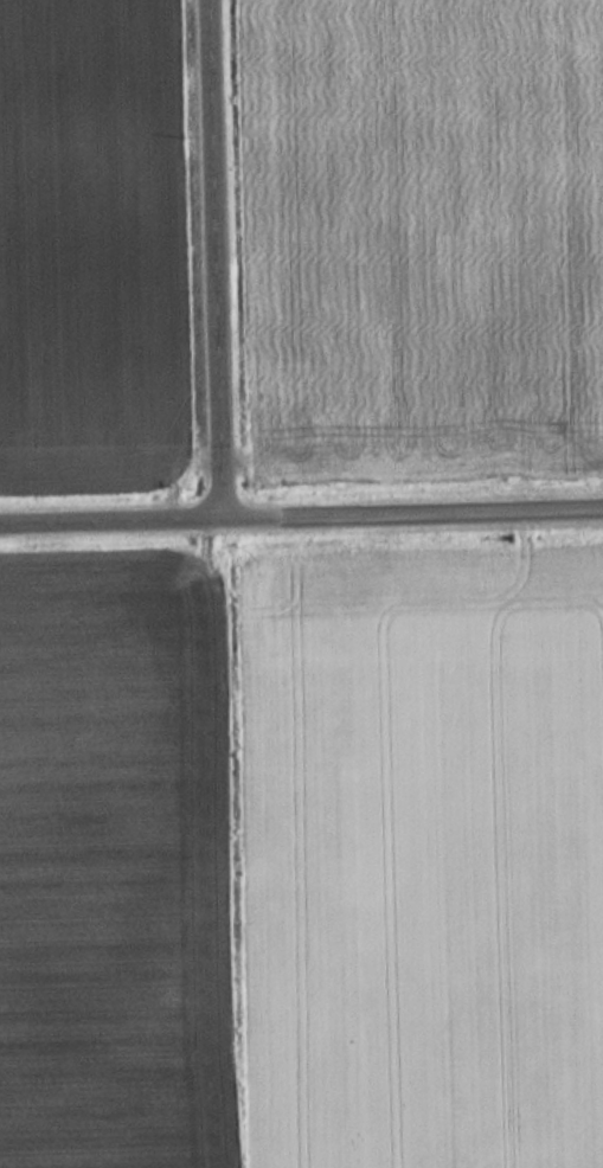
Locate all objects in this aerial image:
road: (224, 257)
road: (416, 509)
road: (115, 518)

